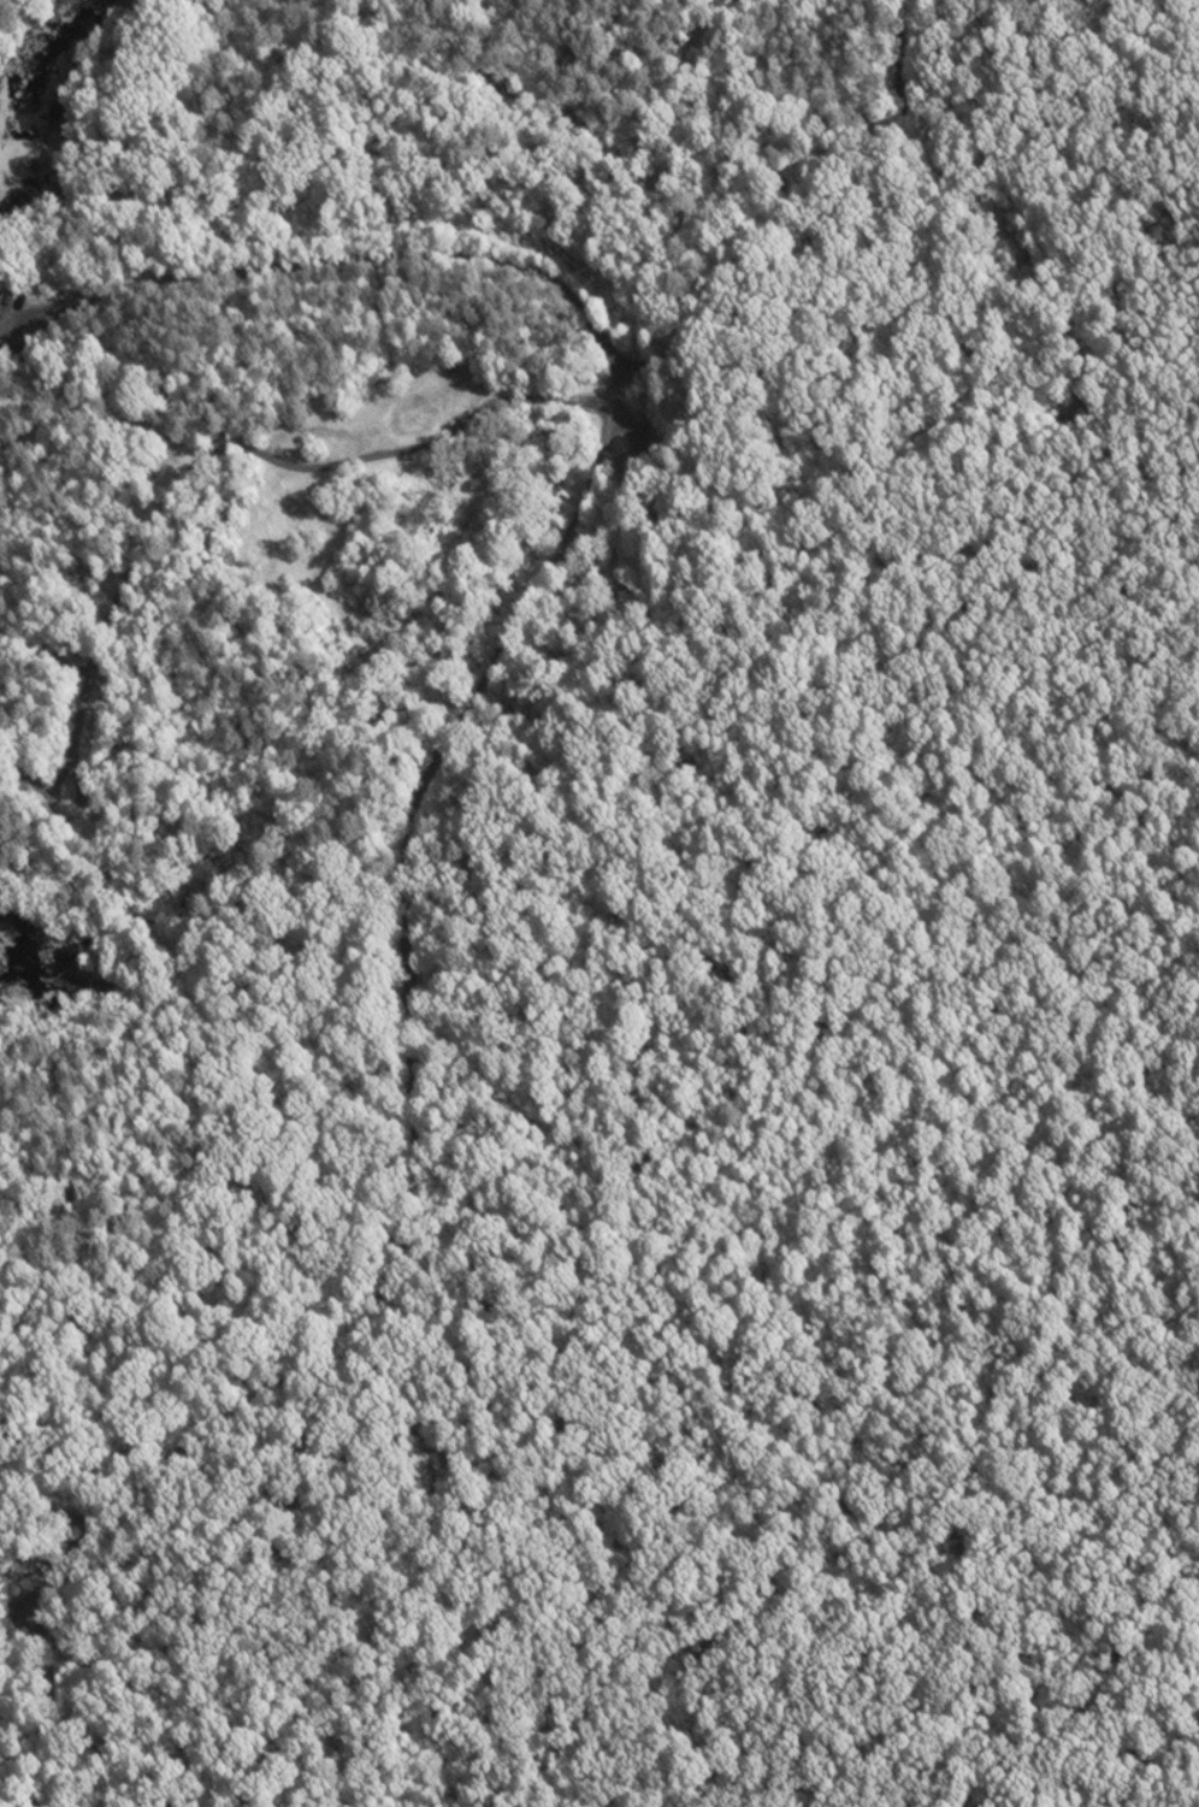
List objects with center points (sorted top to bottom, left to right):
road: (838, 241)
road: (336, 271)
parking lot: (20, 307)
road: (241, 456)
road: (411, 1000)
road: (55, 1496)
road: (49, 1630)

